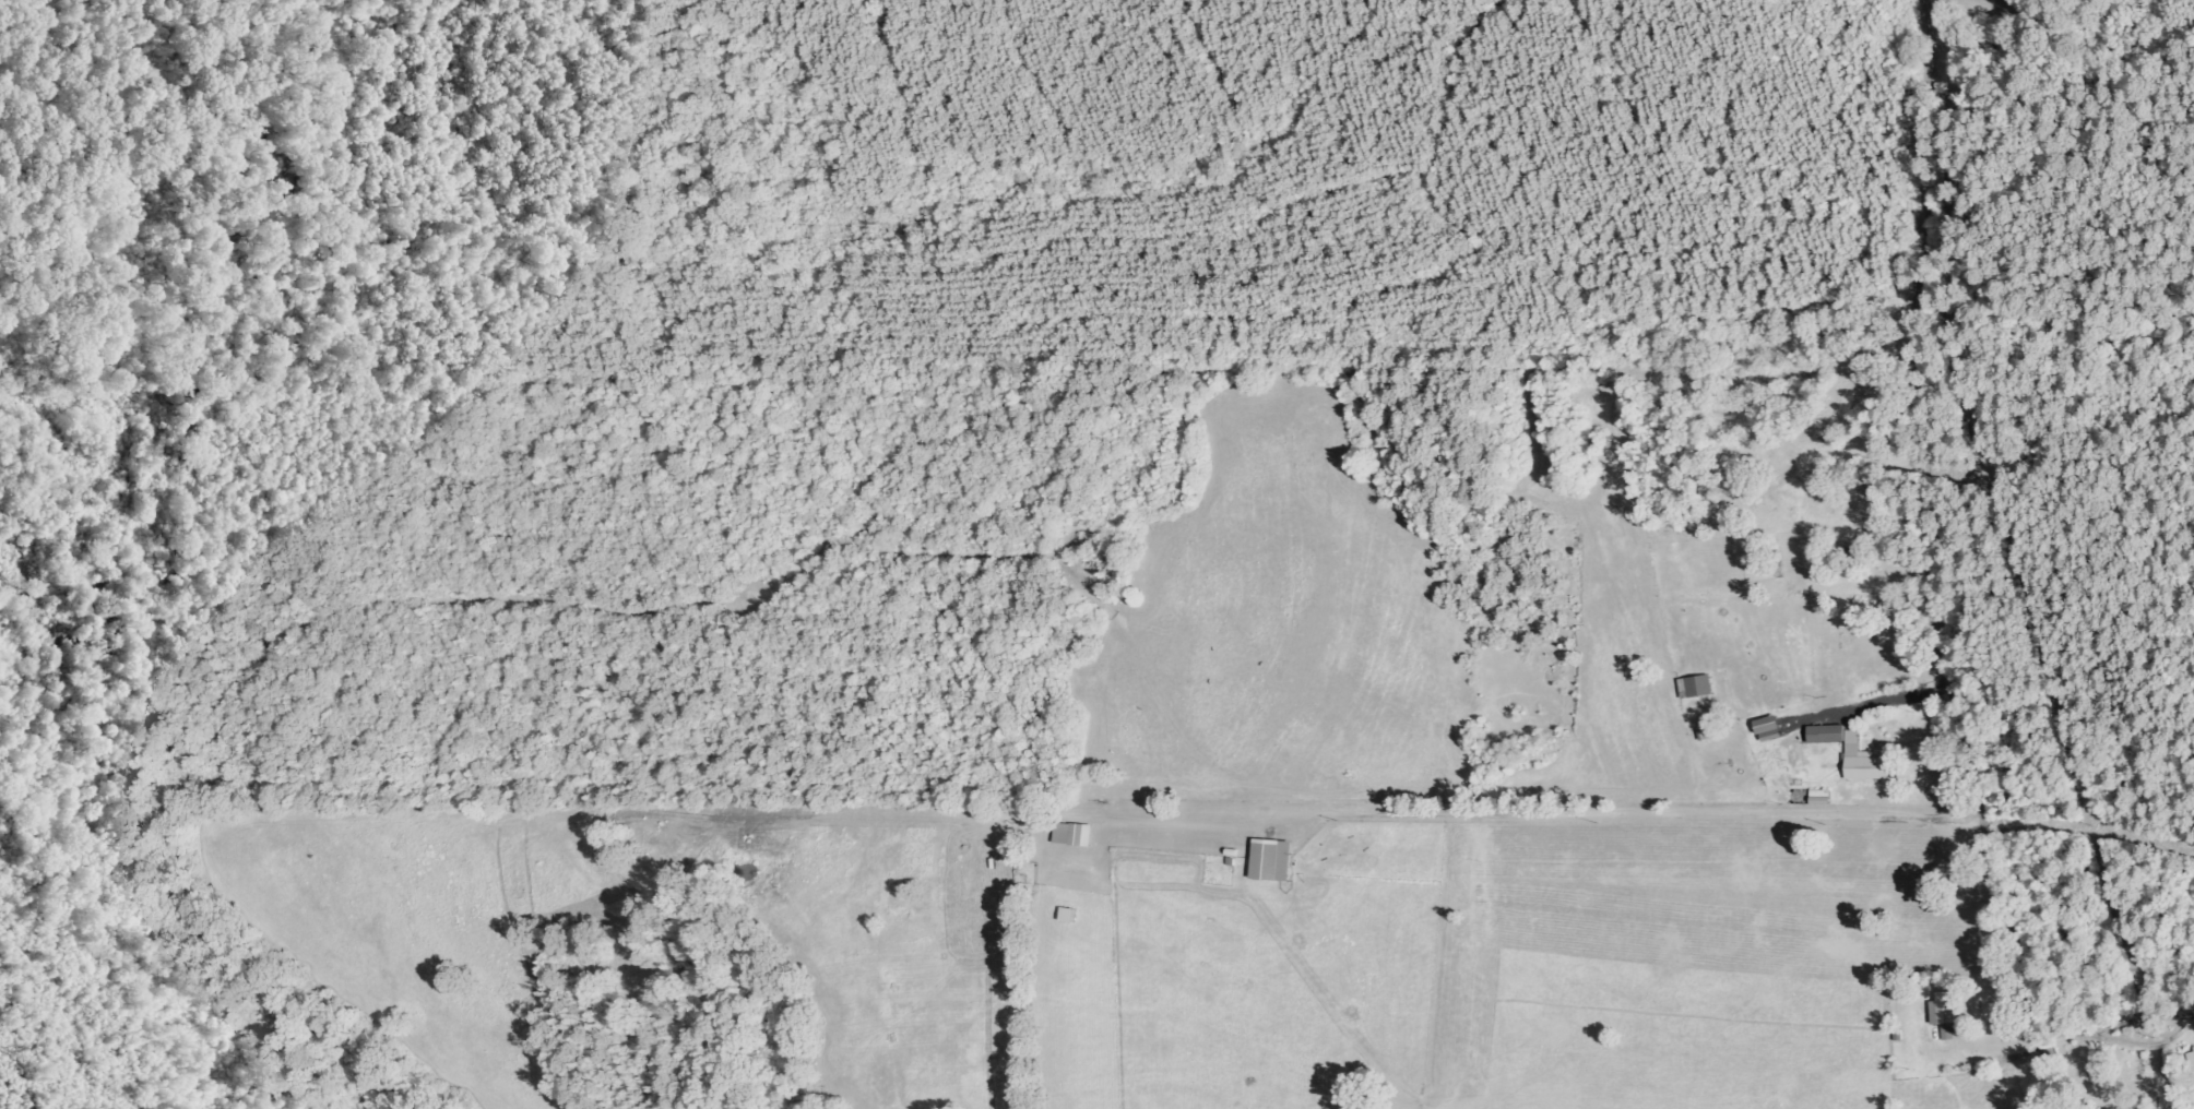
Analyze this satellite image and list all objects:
road: (1905, 563)
building: (1696, 685)
building: (1771, 728)
building: (1854, 752)
building: (1074, 834)
building: (1274, 859)
building: (1945, 1007)
building: (1947, 1033)
building: (2192, 1059)

